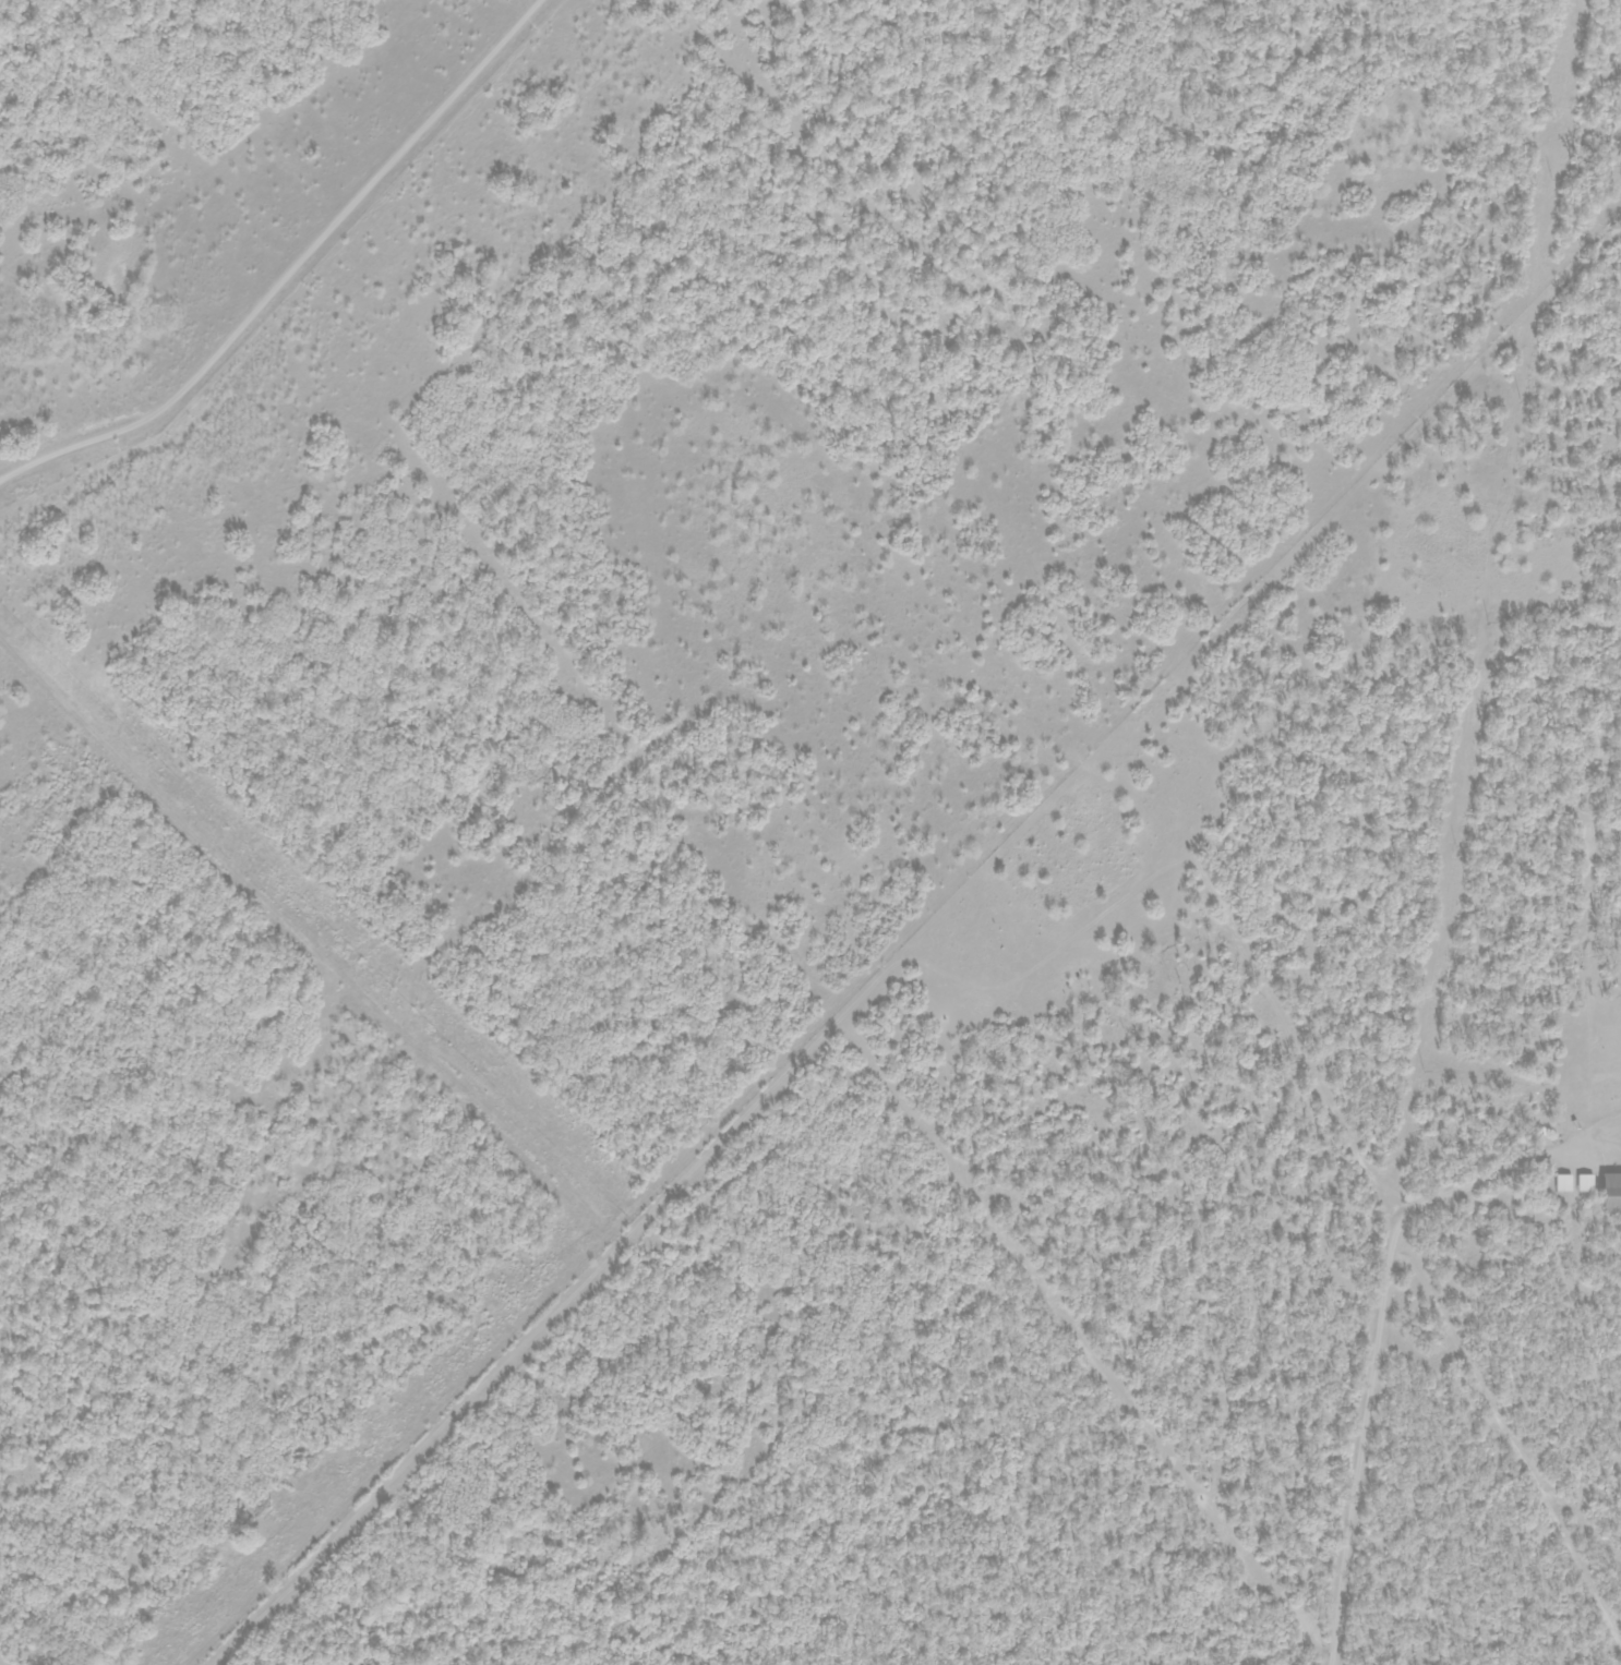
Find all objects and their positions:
building: (1584, 1182)
building: (1610, 1194)

